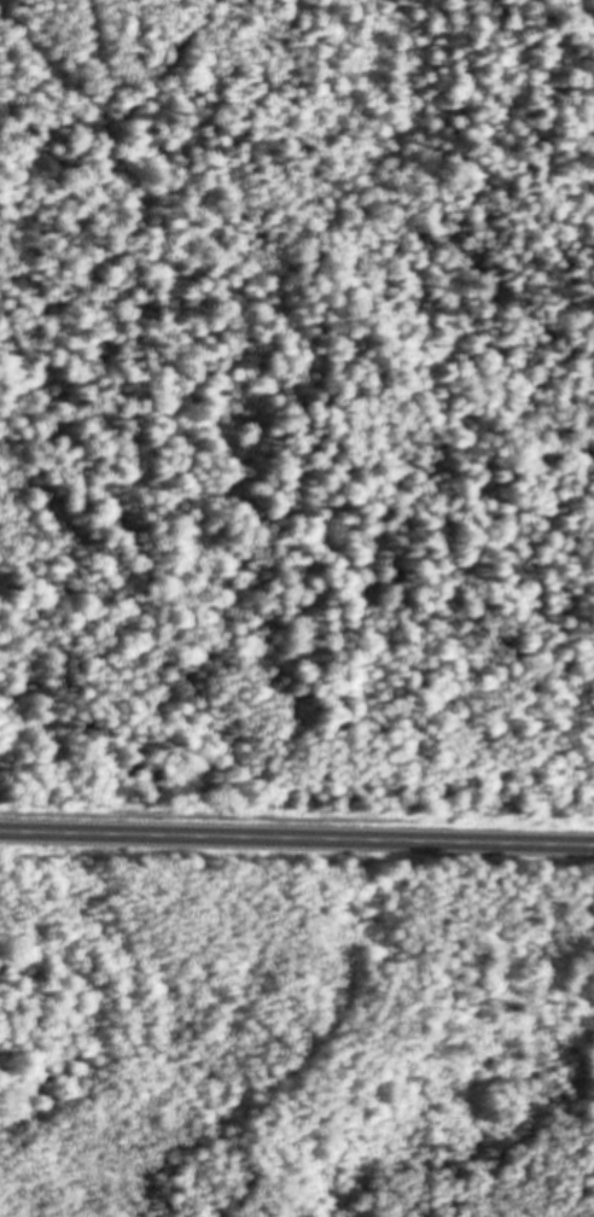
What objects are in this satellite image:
road: (297, 839)

